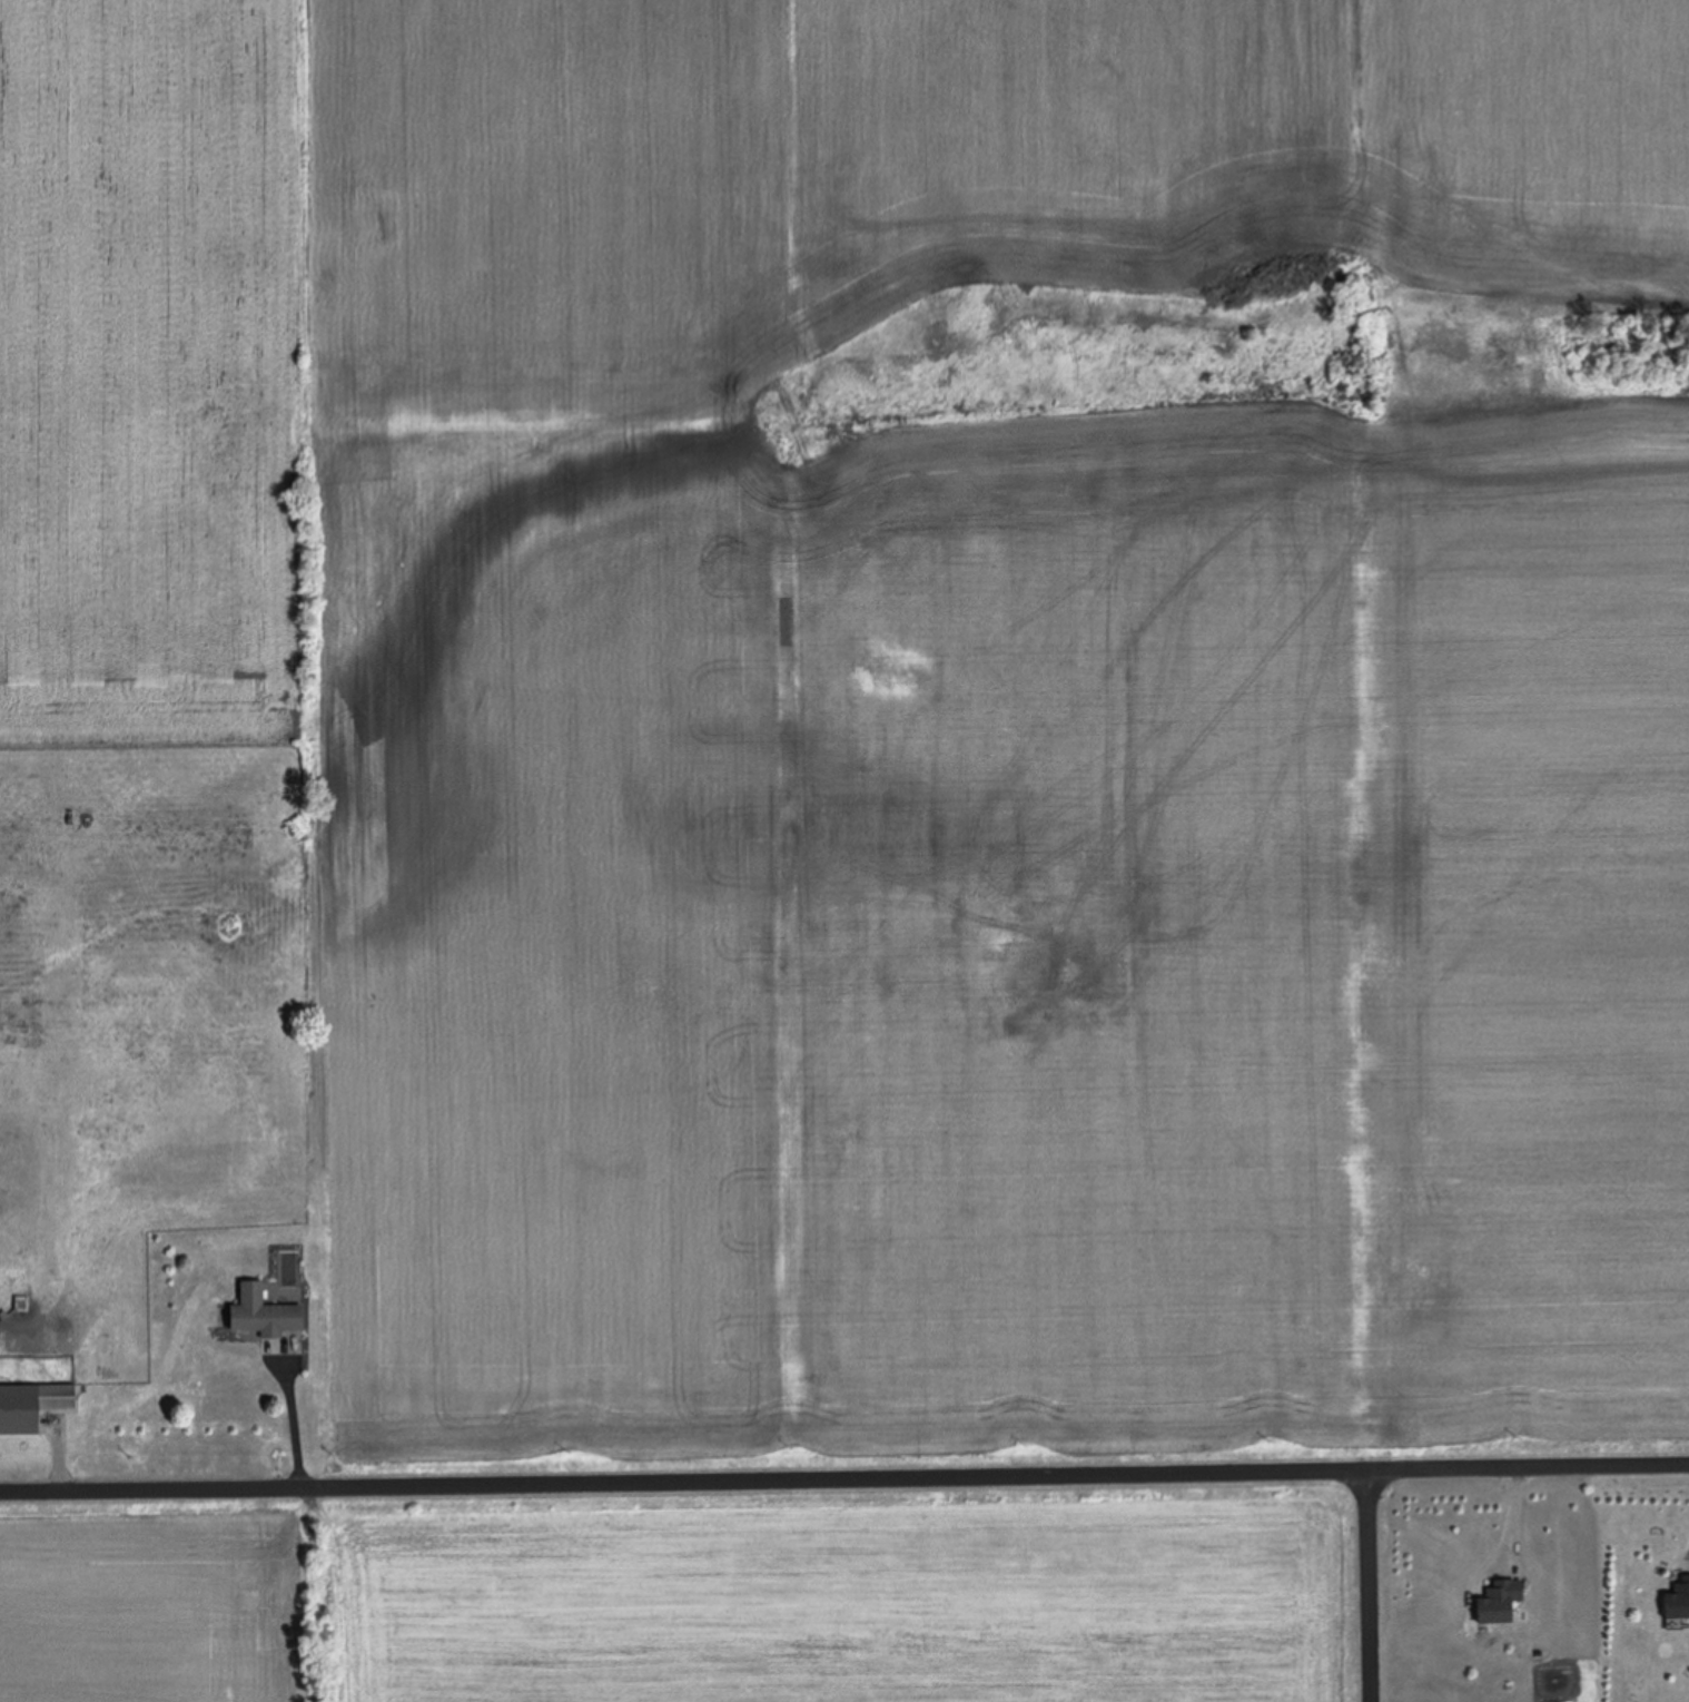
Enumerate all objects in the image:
crop: (913, 689)
building: (266, 1312)
building: (32, 1405)
road: (843, 1467)
road: (1366, 1581)
crop: (687, 1592)
building: (1677, 1600)
building: (1497, 1601)

